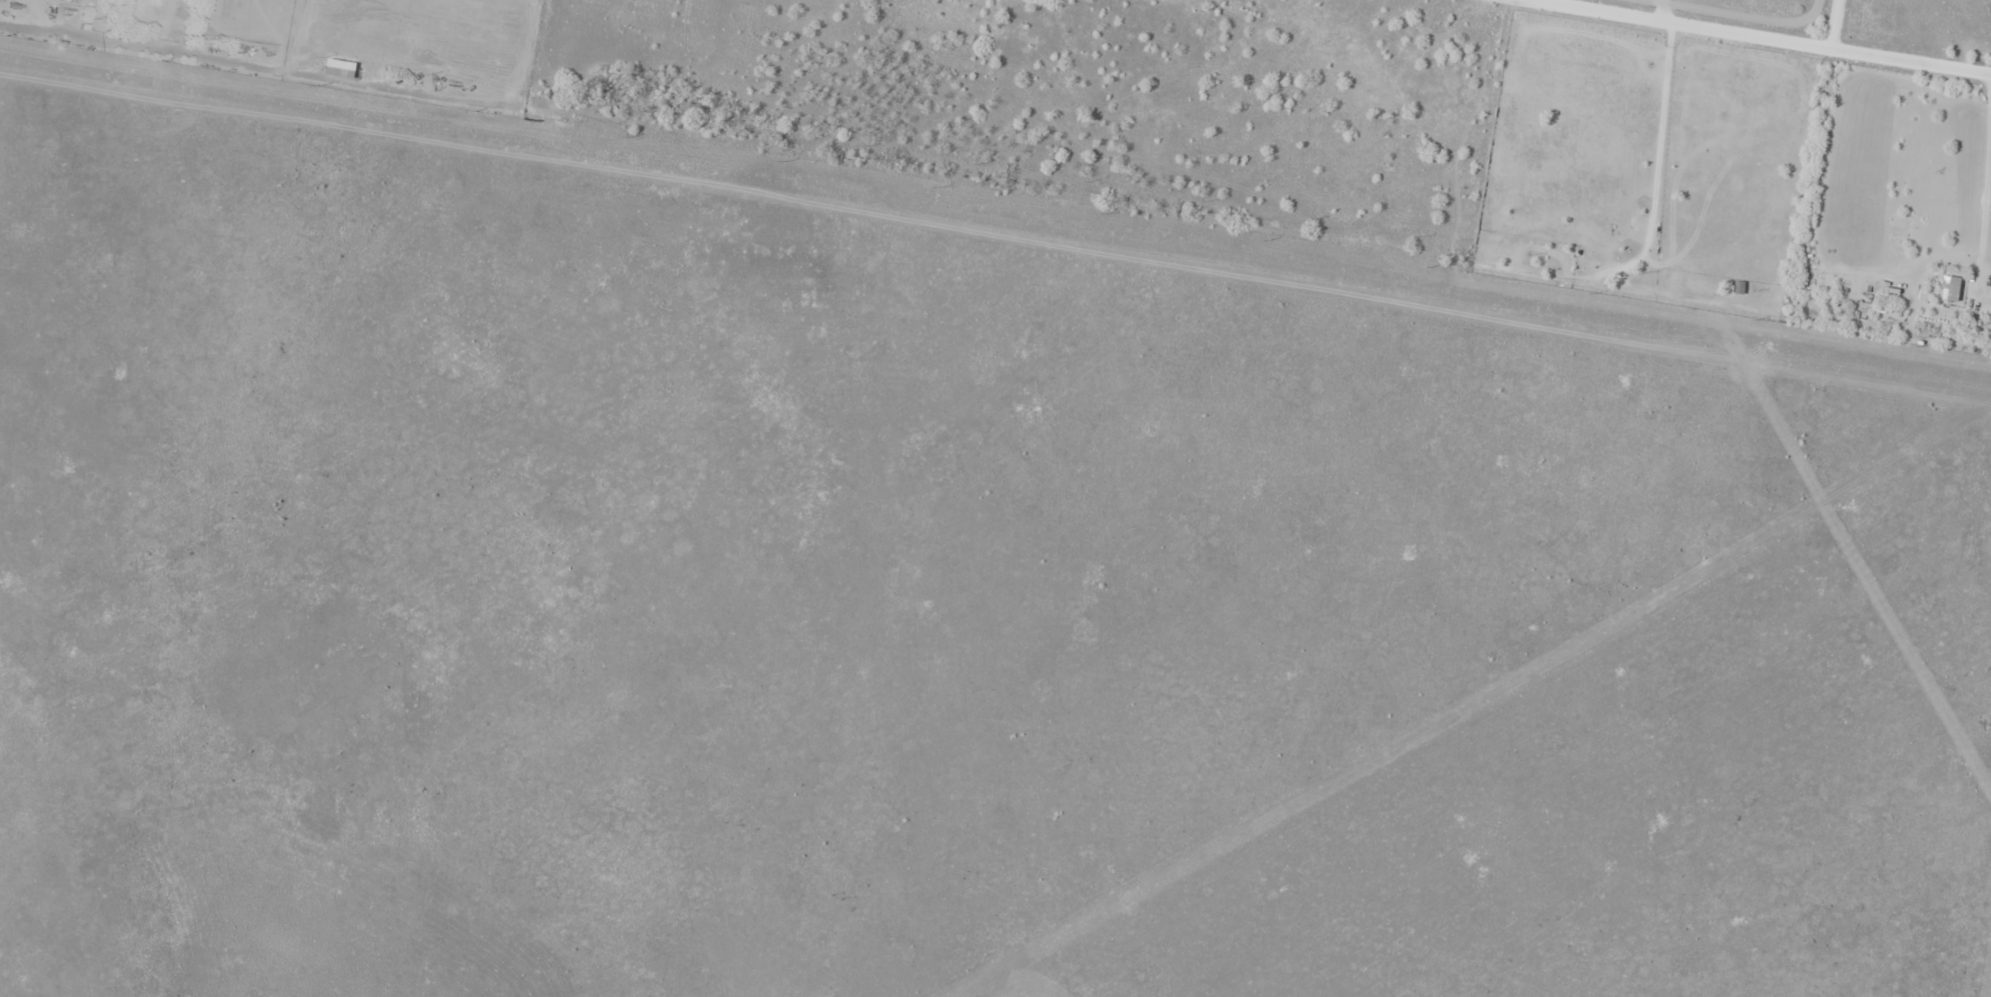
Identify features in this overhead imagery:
road: (995, 222)
building: (1741, 288)

